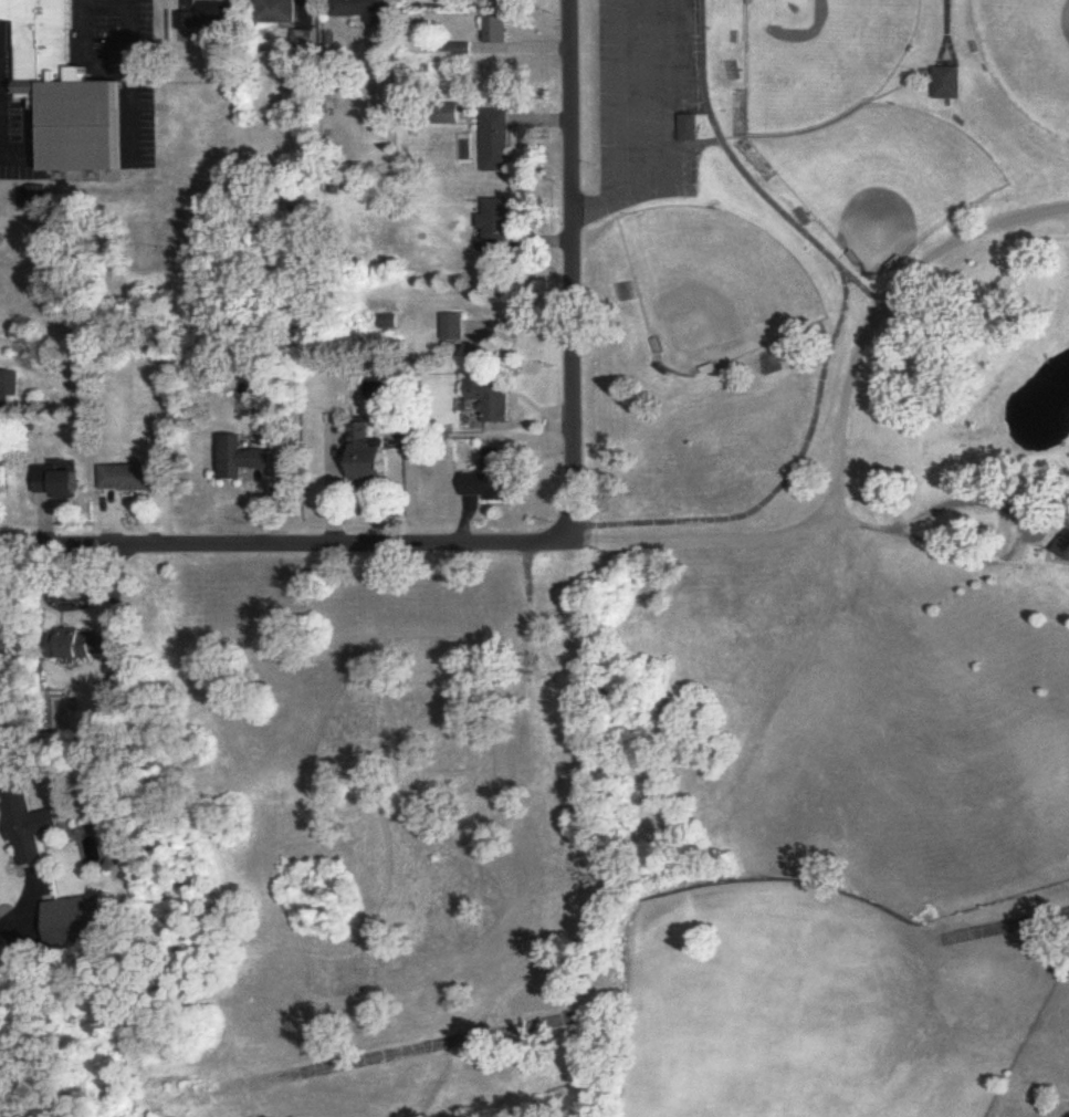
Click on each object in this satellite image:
road: (82, 1)
building: (361, 8)
building: (277, 12)
building: (209, 18)
building: (499, 31)
park: (1029, 55)
road: (127, 56)
park: (822, 59)
building: (497, 81)
building: (950, 84)
building: (65, 91)
road: (626, 125)
building: (690, 127)
building: (497, 140)
park: (885, 178)
building: (500, 226)
road: (572, 269)
park: (714, 285)
building: (453, 327)
building: (10, 392)
building: (497, 399)
road: (837, 430)
building: (379, 457)
building: (248, 459)
building: (135, 479)
building: (495, 479)
building: (9, 480)
building: (62, 482)
road: (285, 543)
building: (1065, 544)
road: (1008, 551)
building: (4, 638)
building: (82, 645)
park: (677, 646)
road: (720, 822)
building: (29, 826)
road: (22, 909)
building: (77, 921)
road: (436, 1041)

